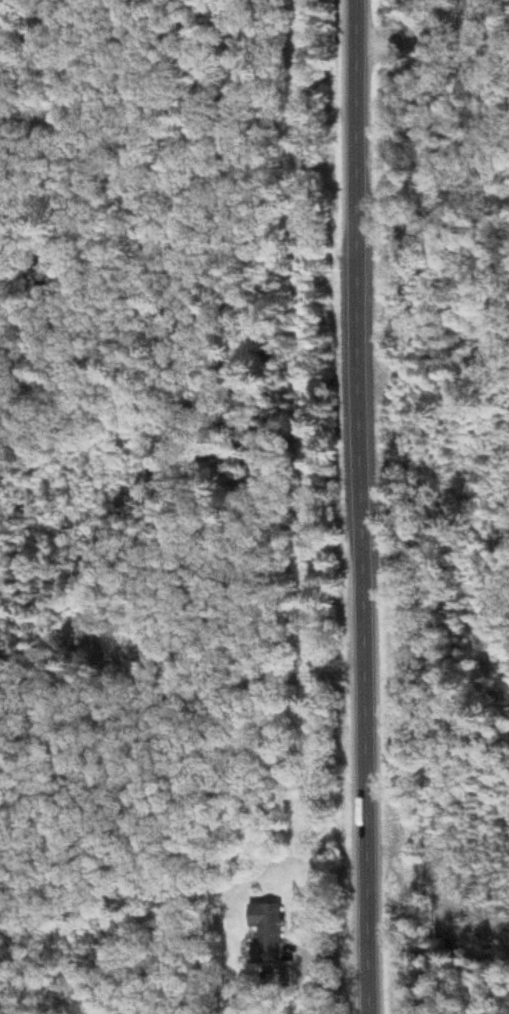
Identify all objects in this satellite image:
road: (361, 506)
road: (181, 682)
building: (263, 934)

